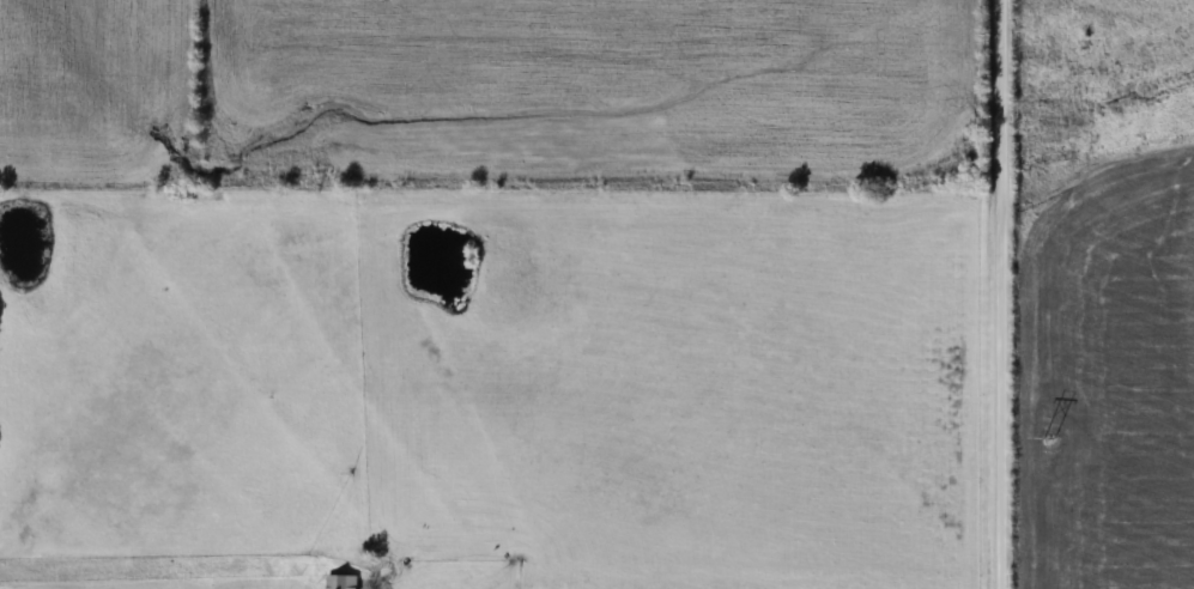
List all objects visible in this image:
road: (999, 294)
building: (341, 582)

